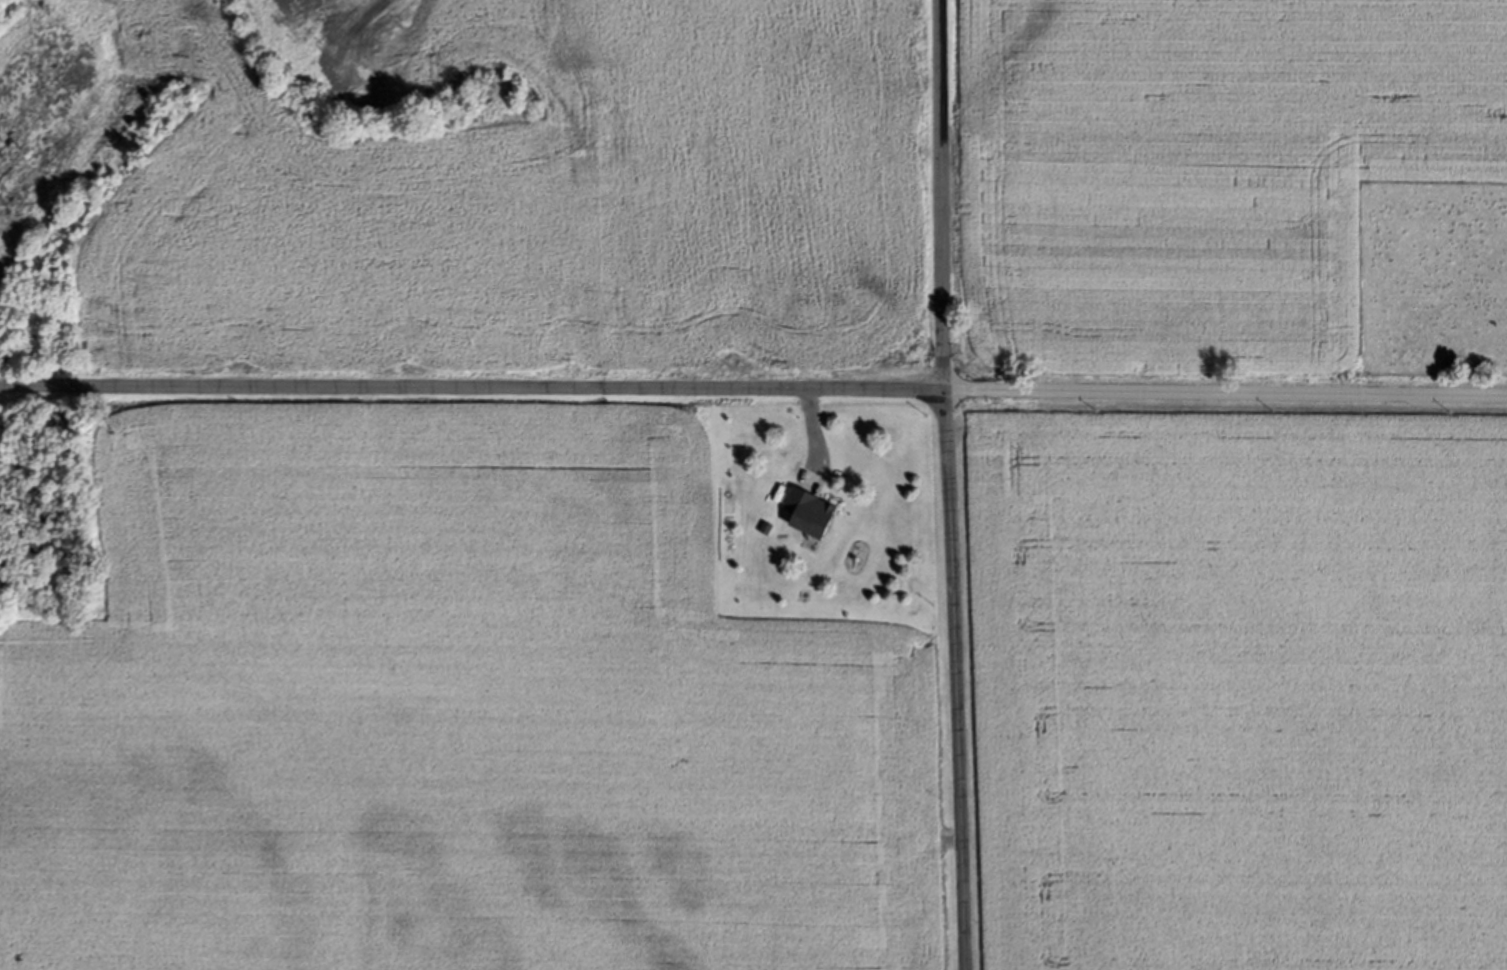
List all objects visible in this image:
road: (940, 200)
road: (471, 394)
road: (1224, 403)
building: (813, 512)
road: (951, 685)

